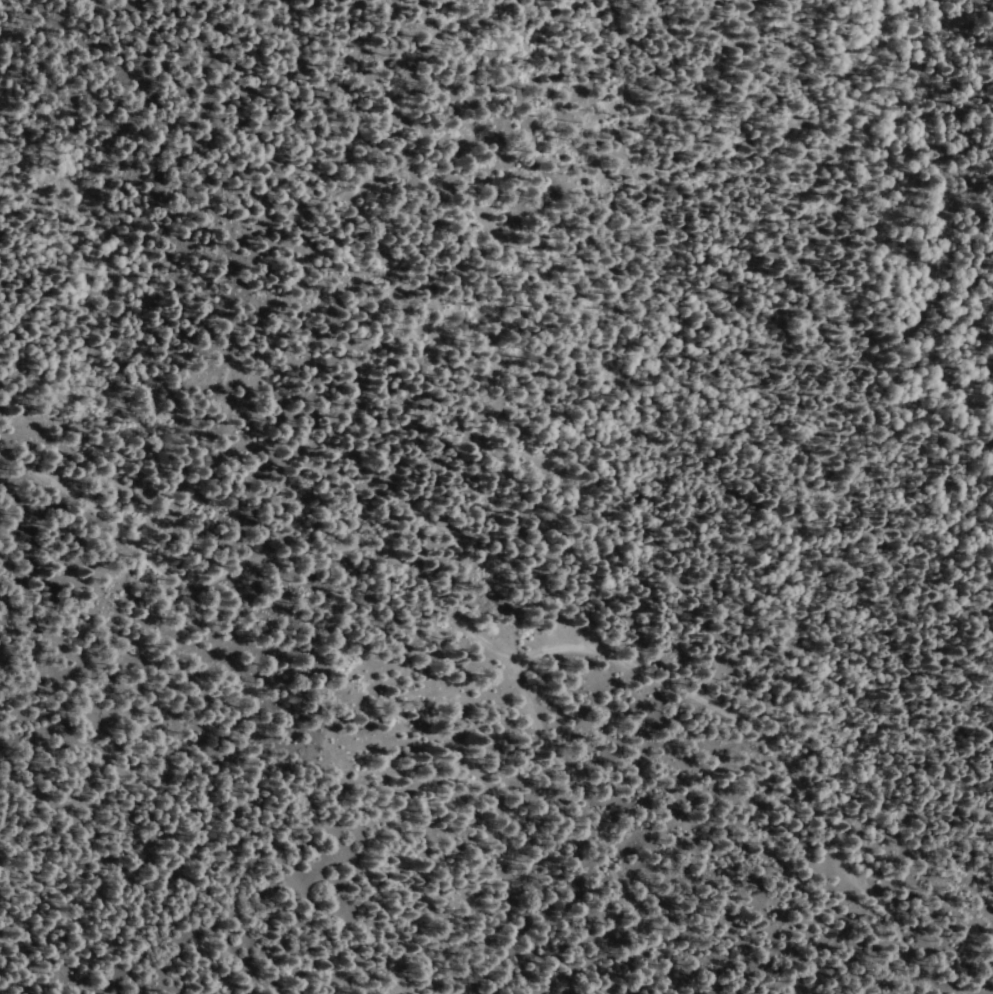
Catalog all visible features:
road: (525, 623)

